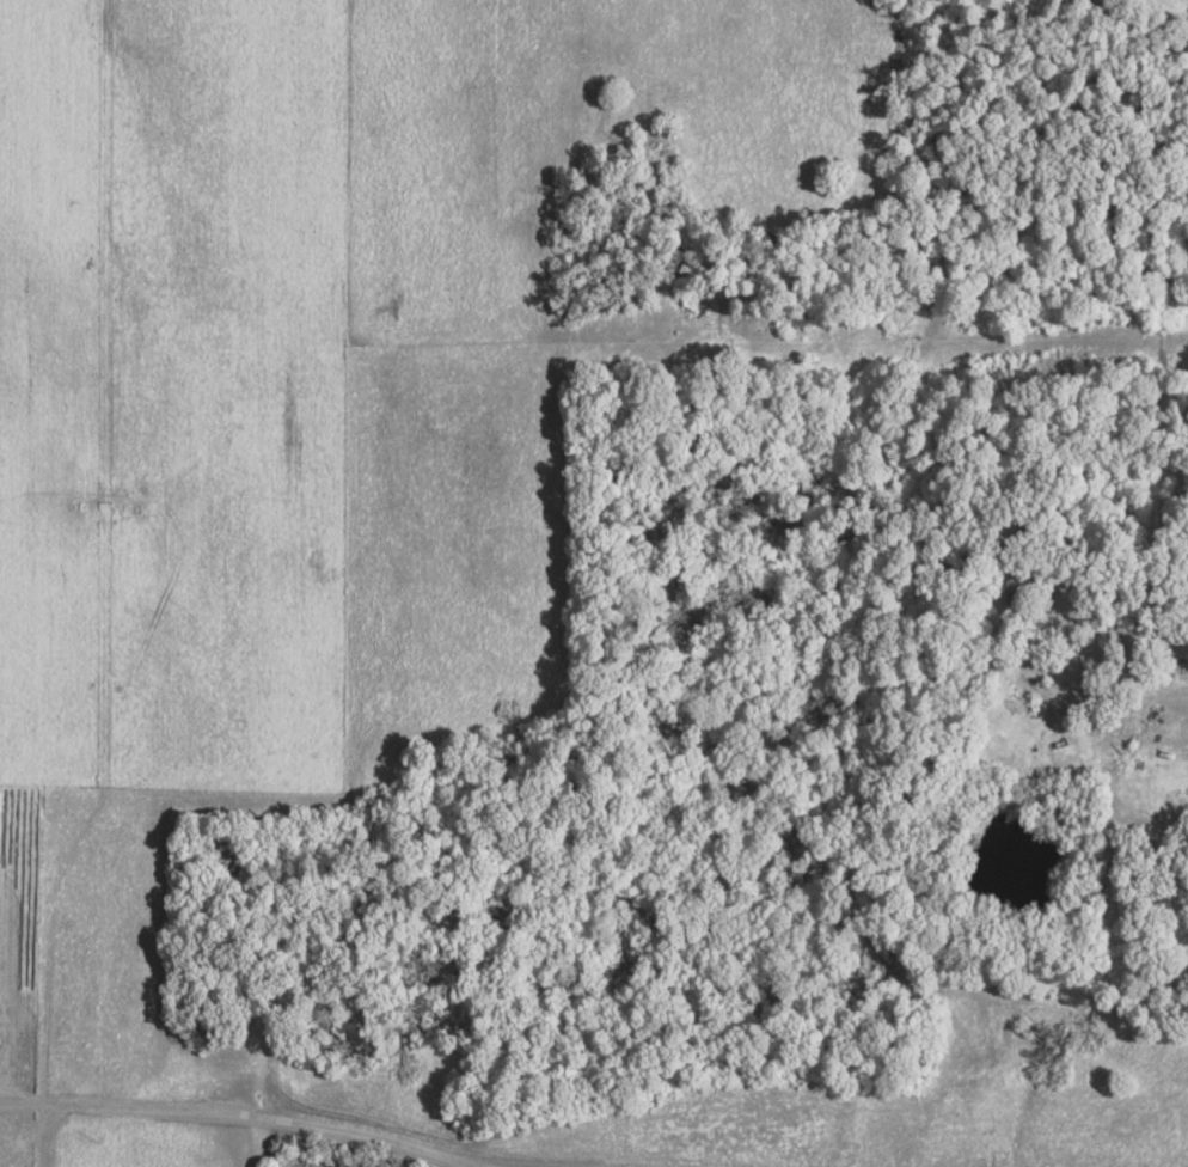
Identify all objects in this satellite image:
road: (1133, 696)
road: (257, 1119)

